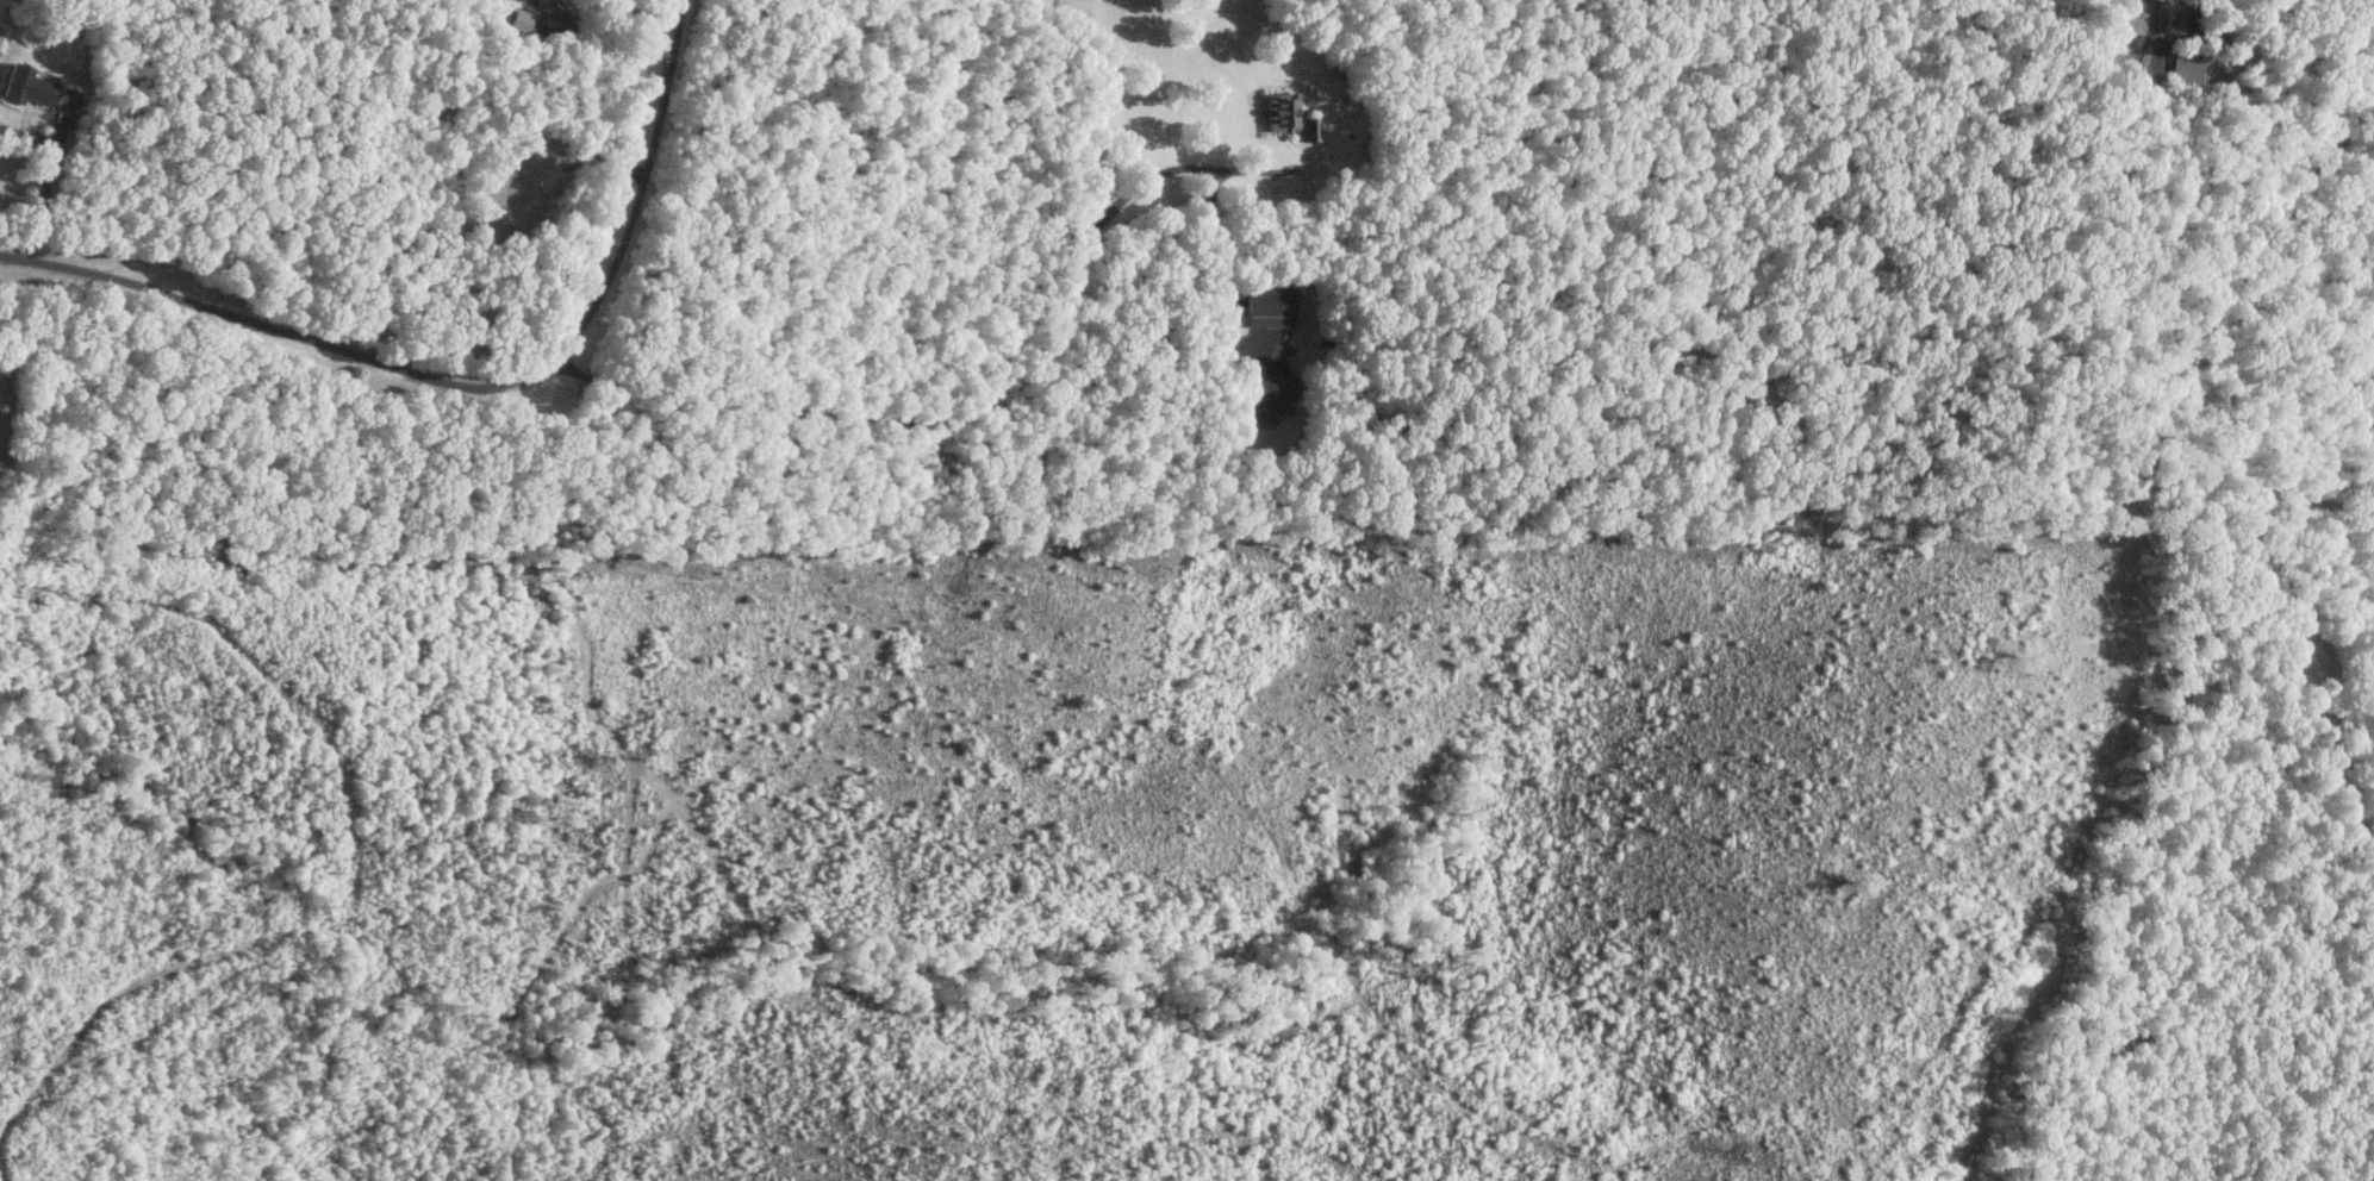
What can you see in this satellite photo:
building: (524, 21)
road: (606, 56)
building: (23, 86)
building: (1303, 117)
road: (48, 176)
building: (1267, 306)
road: (467, 383)
road: (1011, 383)
building: (1261, 387)

